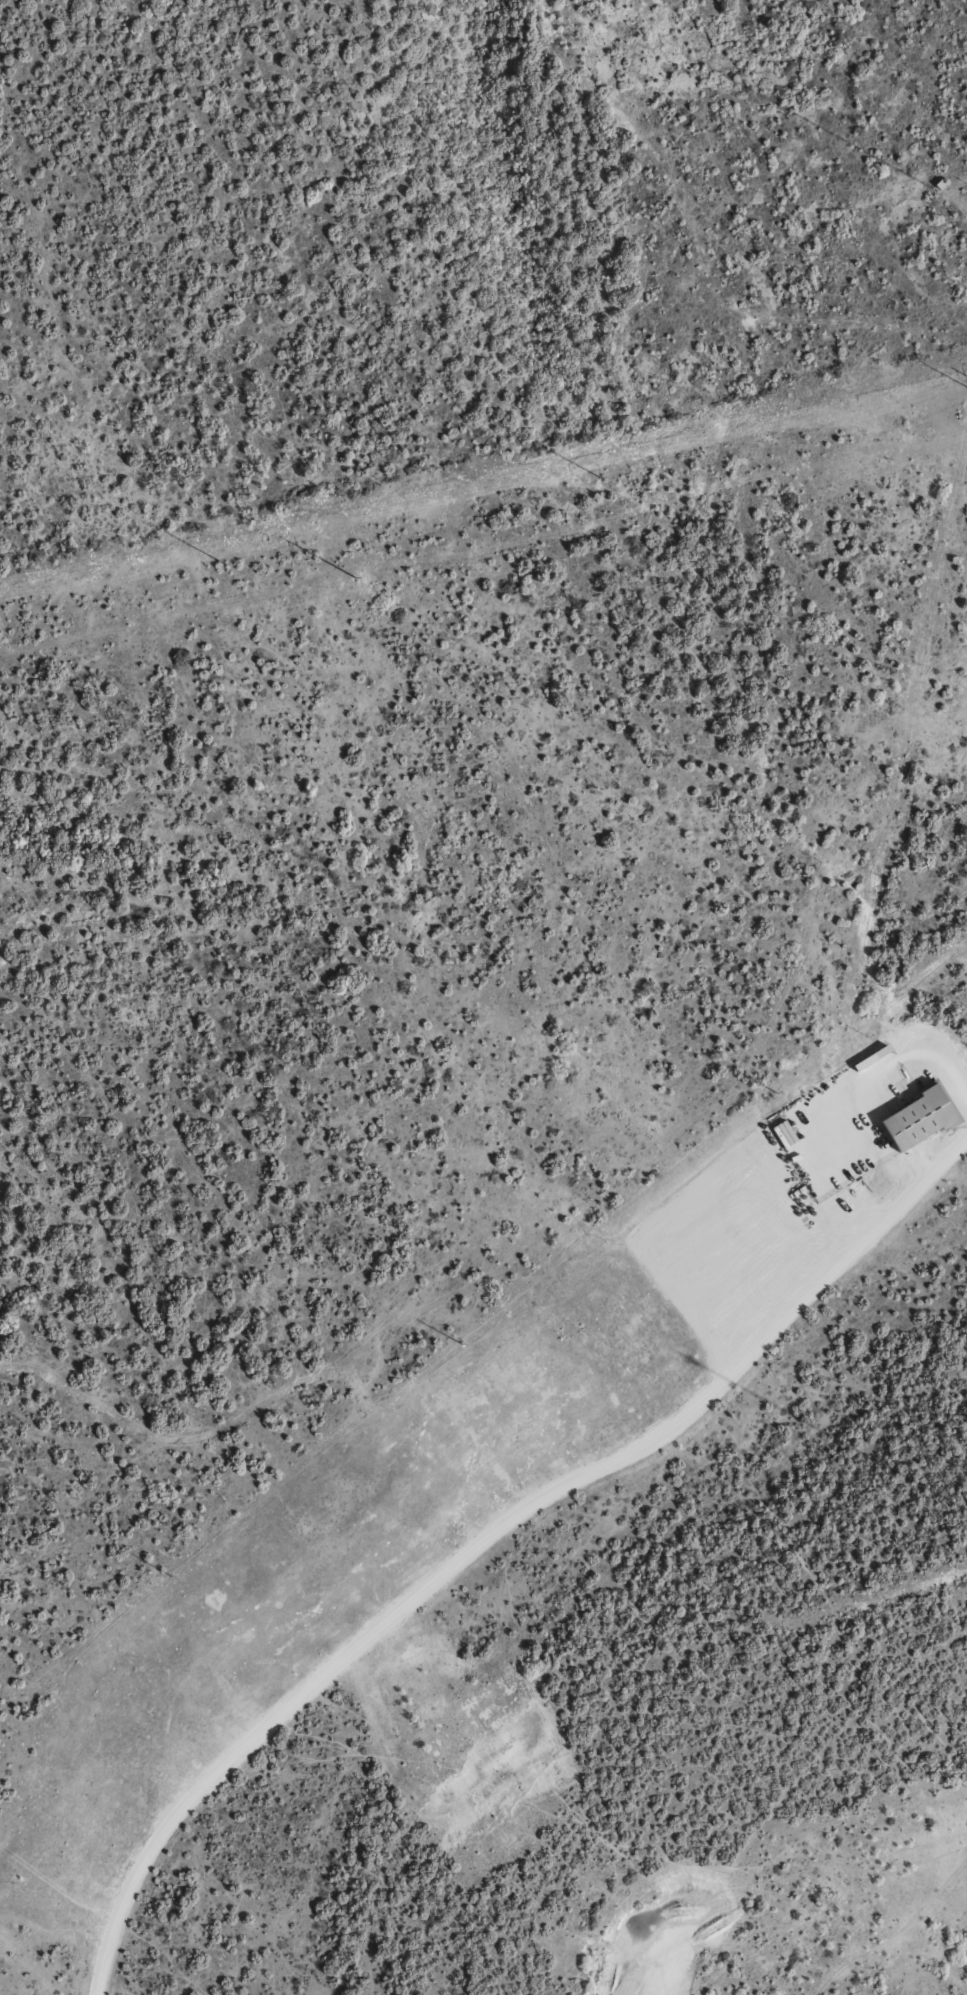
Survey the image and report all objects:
power tower: (598, 476)
power tower: (223, 564)
power tower: (352, 578)
road: (490, 992)
power tower: (775, 1090)
building: (785, 1131)
power tower: (462, 1343)
road: (486, 1532)
power tower: (170, 1576)

